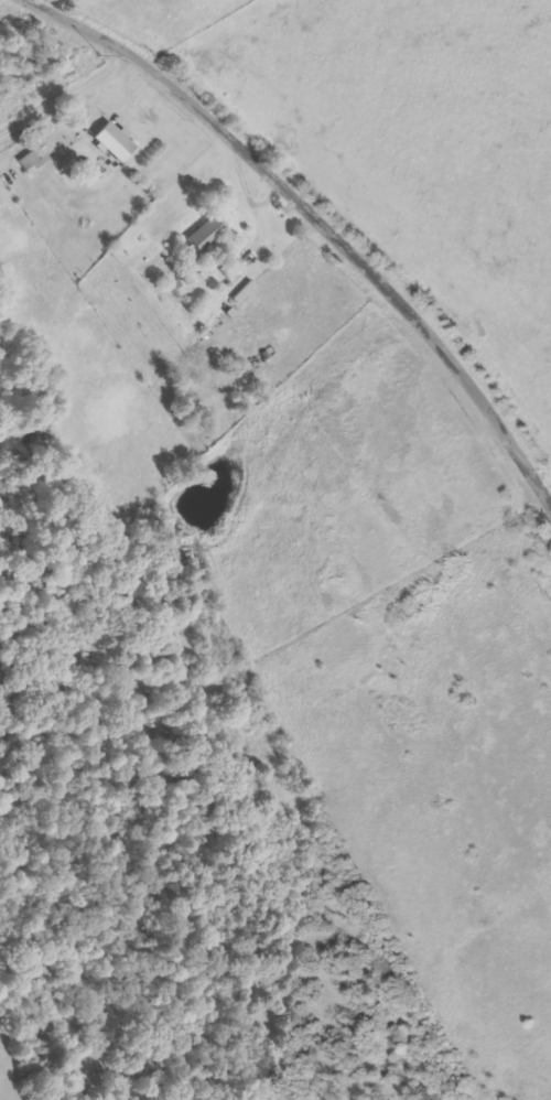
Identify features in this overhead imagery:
road: (64, 90)
building: (114, 141)
building: (30, 161)
road: (318, 217)
building: (206, 236)
building: (230, 268)

